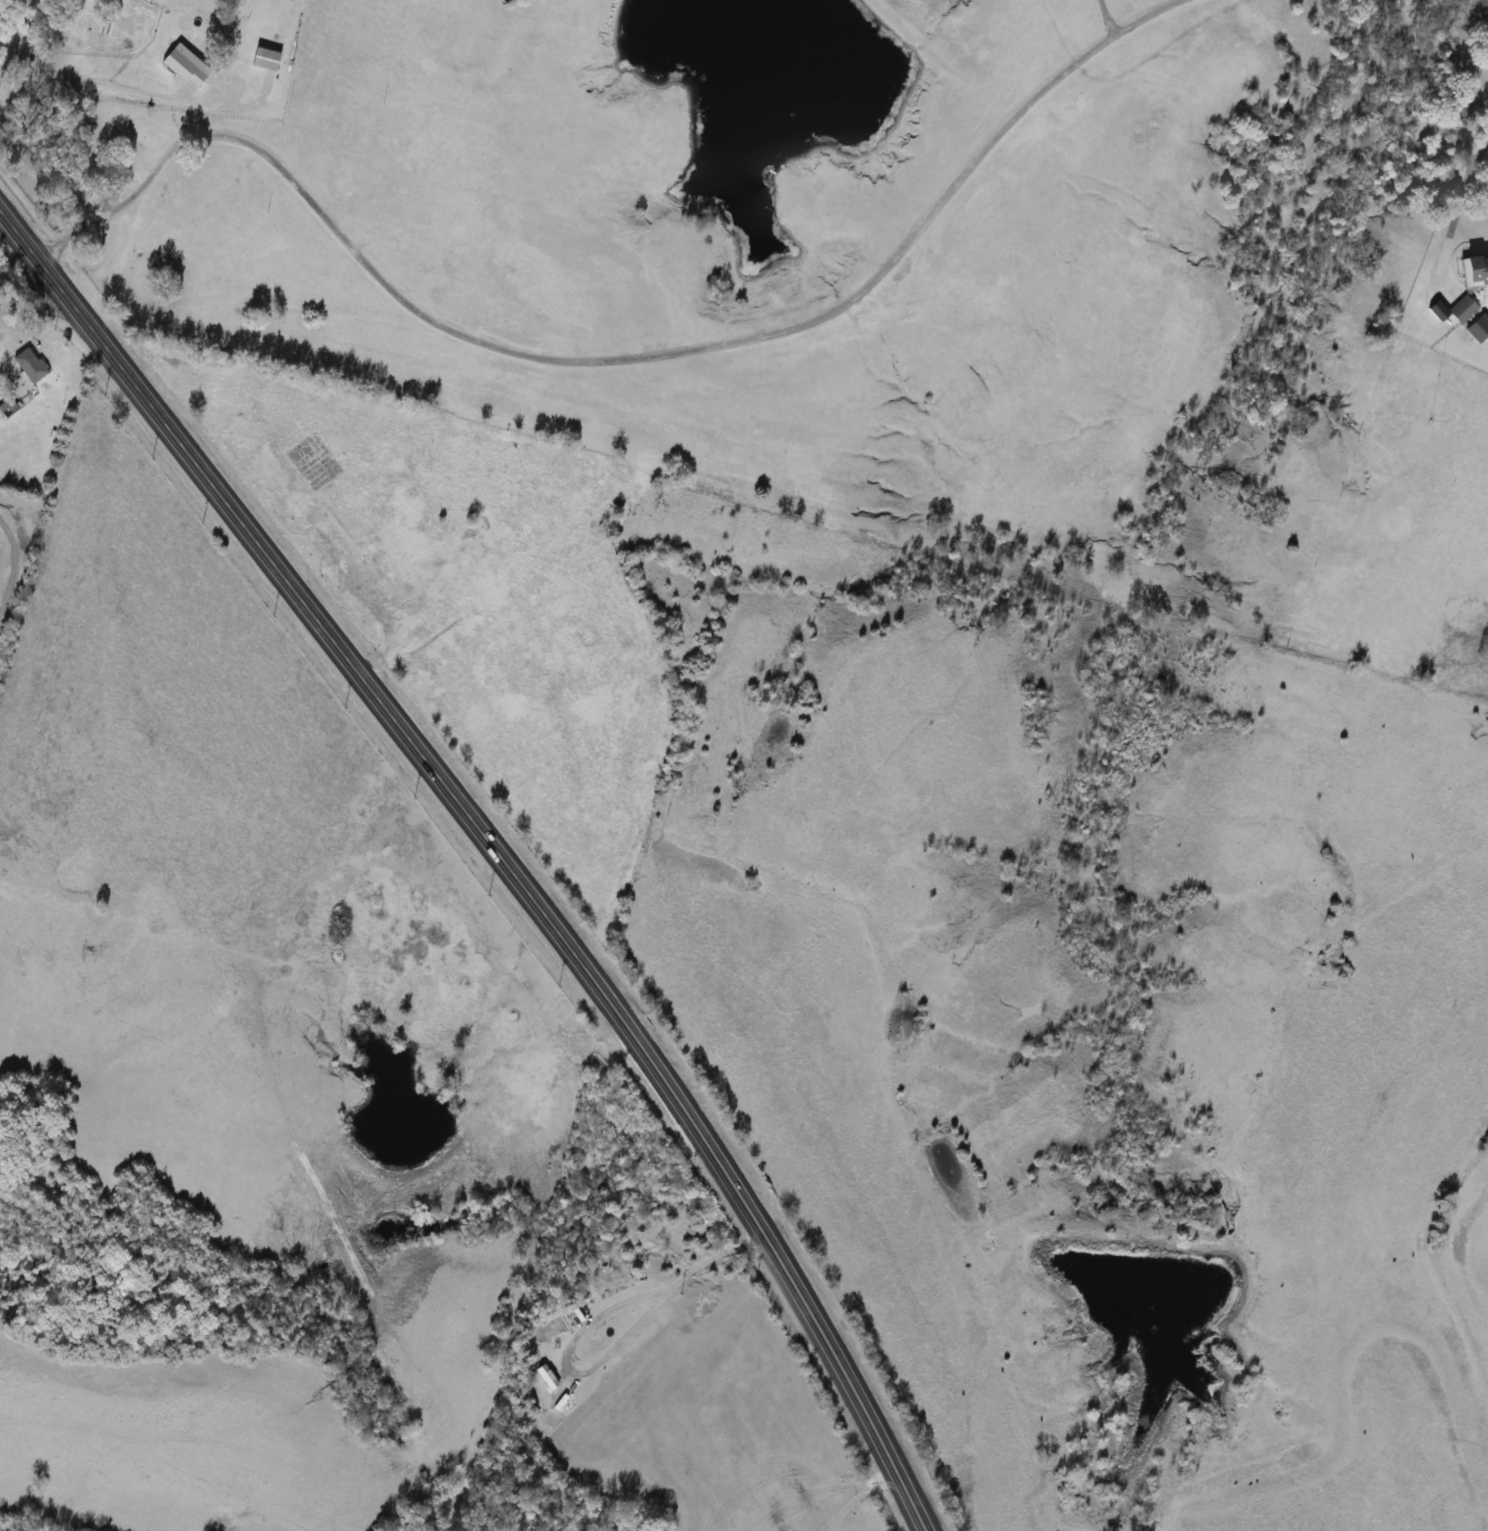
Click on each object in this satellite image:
road: (1108, 18)
road: (13, 39)
road: (104, 82)
road: (1456, 204)
building: (1469, 286)
road: (41, 310)
road: (610, 358)
building: (28, 364)
building: (6, 408)
building: (31, 446)
building: (312, 462)
road: (14, 561)
road: (494, 850)

